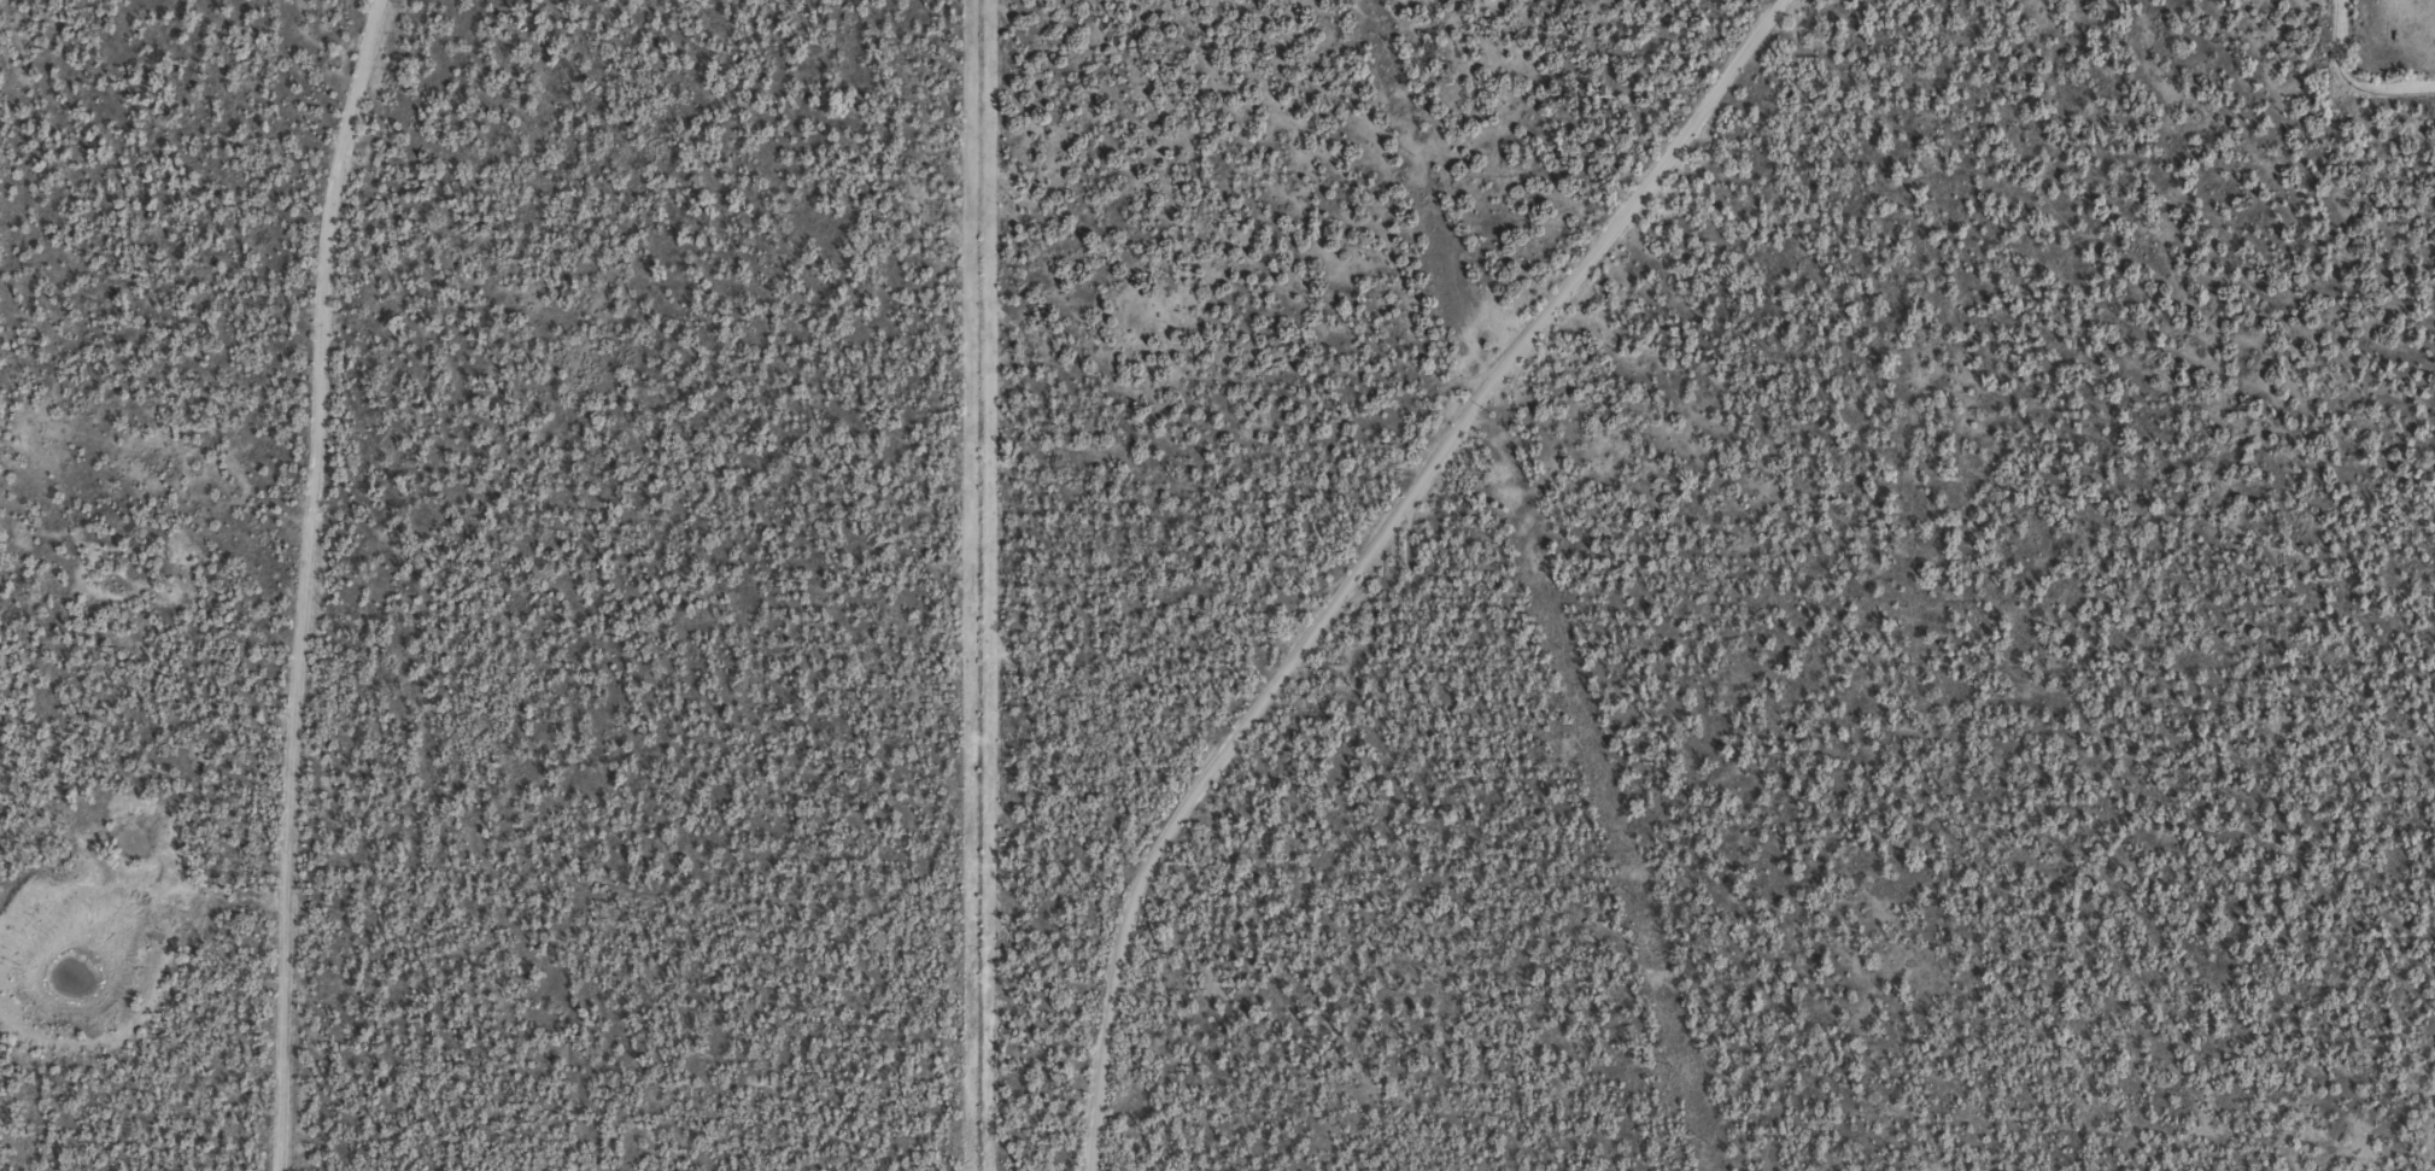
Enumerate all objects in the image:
road: (1368, 554)

